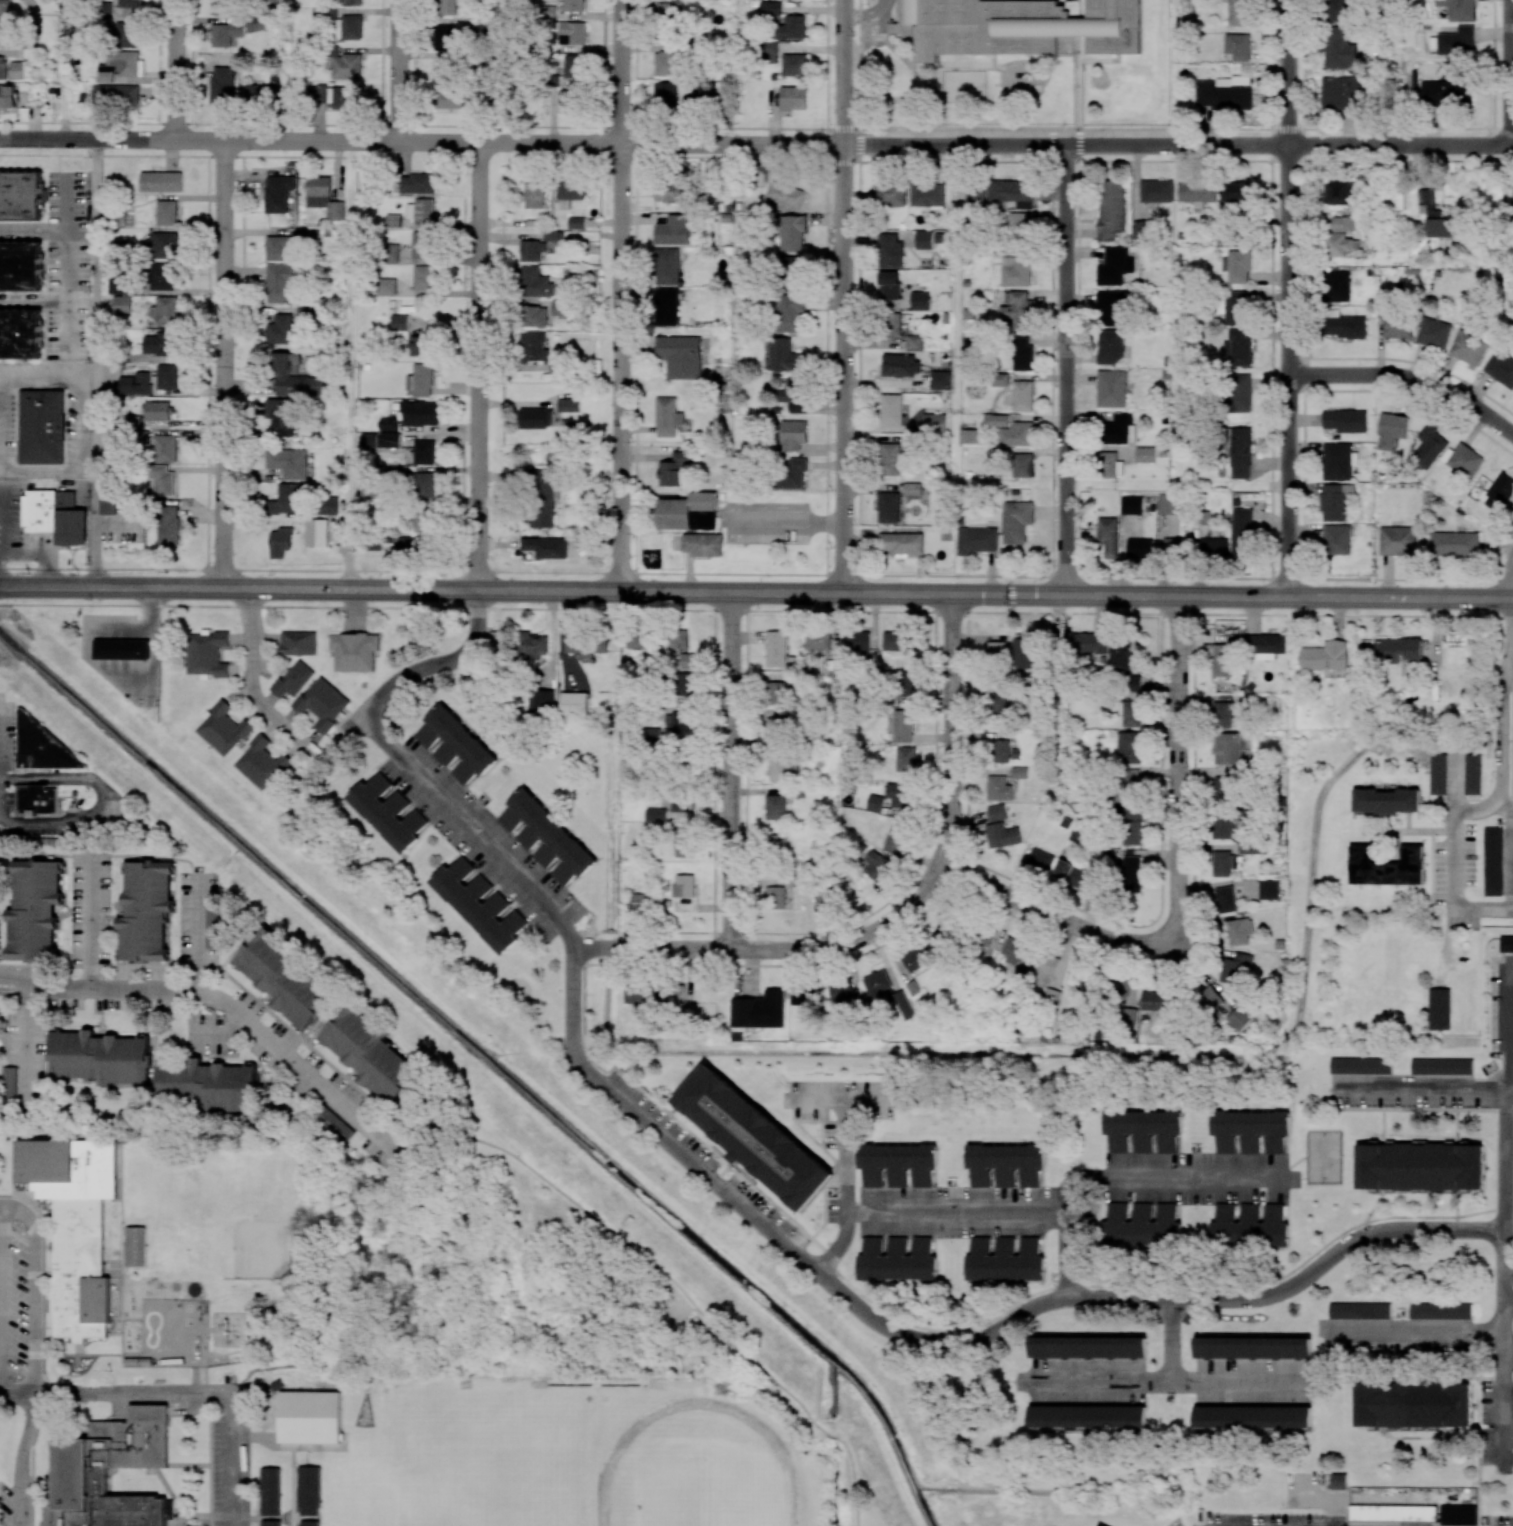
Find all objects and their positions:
building: (351, 2)
building: (128, 3)
building: (573, 5)
building: (219, 7)
building: (447, 7)
building: (1458, 9)
building: (1337, 10)
building: (666, 12)
building: (1238, 12)
road: (868, 15)
building: (4, 19)
building: (255, 24)
building: (351, 27)
building: (1015, 27)
building: (791, 28)
building: (225, 33)
building: (572, 33)
building: (124, 34)
building: (444, 37)
building: (1456, 41)
building: (1237, 46)
building: (1340, 49)
building: (769, 52)
building: (667, 63)
building: (794, 65)
building: (121, 66)
building: (347, 66)
building: (574, 66)
building: (2, 67)
road: (63, 69)
road: (176, 69)
building: (16, 70)
road: (399, 70)
building: (441, 71)
road: (1511, 72)
building: (221, 85)
building: (1224, 93)
building: (1340, 93)
building: (1446, 93)
building: (116, 94)
building: (260, 94)
building: (319, 94)
building: (665, 94)
building: (706, 95)
building: (8, 96)
building: (343, 97)
building: (447, 98)
building: (793, 98)
building: (569, 99)
road: (756, 141)
building: (161, 181)
building: (417, 183)
building: (671, 191)
building: (1156, 191)
building: (1237, 191)
building: (569, 192)
building: (1012, 192)
building: (278, 193)
building: (976, 193)
building: (1197, 193)
building: (1342, 193)
building: (20, 194)
building: (891, 194)
building: (926, 194)
building: (533, 195)
building: (786, 195)
building: (324, 197)
building: (1397, 201)
road: (72, 206)
building: (1111, 209)
building: (420, 210)
building: (166, 212)
building: (1434, 215)
building: (117, 219)
building: (393, 220)
building: (575, 222)
building: (1341, 224)
building: (673, 230)
building: (1140, 230)
building: (792, 232)
building: (1020, 232)
road: (71, 233)
road: (84, 234)
building: (923, 239)
building: (1340, 244)
building: (164, 245)
building: (422, 245)
building: (279, 246)
building: (531, 250)
building: (890, 251)
building: (390, 253)
building: (20, 265)
building: (666, 266)
building: (1114, 266)
building: (1238, 266)
building: (794, 270)
building: (1016, 271)
building: (162, 276)
building: (423, 277)
building: (279, 282)
building: (533, 282)
building: (117, 283)
building: (889, 285)
building: (387, 286)
building: (1336, 286)
road: (622, 296)
road: (845, 297)
road: (1290, 298)
building: (919, 300)
road: (36, 304)
building: (121, 305)
building: (557, 307)
building: (666, 307)
building: (1111, 307)
building: (1237, 307)
building: (1018, 310)
building: (164, 311)
building: (790, 314)
building: (534, 316)
building: (399, 322)
building: (893, 325)
building: (1344, 325)
building: (1397, 327)
road: (72, 329)
building: (279, 329)
building: (20, 333)
building: (1433, 333)
building: (158, 343)
building: (914, 343)
building: (421, 346)
building: (1110, 346)
building: (533, 347)
building: (1238, 347)
building: (1468, 347)
building: (1022, 354)
building: (679, 356)
building: (785, 356)
road: (97, 362)
road: (223, 363)
road: (478, 365)
building: (900, 365)
building: (1500, 367)
road: (1067, 369)
building: (166, 376)
road: (45, 377)
building: (293, 378)
road: (1408, 379)
building: (420, 380)
building: (940, 380)
building: (135, 384)
building: (1111, 388)
building: (793, 393)
building: (1238, 393)
building: (1019, 395)
building: (568, 404)
building: (891, 410)
building: (158, 411)
building: (420, 413)
building: (280, 416)
building: (667, 417)
building: (535, 418)
building: (996, 420)
building: (1345, 420)
building: (132, 421)
building: (934, 422)
building: (388, 424)
building: (41, 426)
building: (1118, 429)
building: (1392, 429)
building: (1017, 434)
building: (793, 435)
building: (969, 436)
building: (390, 439)
building: (368, 440)
building: (166, 448)
building: (424, 451)
building: (1238, 451)
building: (1146, 455)
building: (889, 459)
building: (1462, 459)
building: (1337, 461)
building: (287, 462)
building: (1022, 465)
building: (1109, 465)
building: (674, 469)
building: (792, 474)
building: (161, 479)
building: (424, 484)
building: (911, 489)
building: (370, 490)
building: (1499, 491)
building: (543, 497)
building: (285, 499)
building: (1334, 501)
building: (1131, 504)
building: (1168, 504)
building: (108, 506)
building: (328, 507)
building: (888, 507)
building: (688, 512)
building: (55, 515)
building: (424, 519)
building: (1017, 521)
road: (787, 522)
road: (3, 524)
building: (168, 525)
building: (316, 532)
building: (1241, 532)
building: (1108, 535)
building: (976, 539)
building: (1336, 539)
building: (1397, 540)
building: (280, 542)
building: (901, 542)
building: (1454, 543)
building: (703, 544)
building: (1176, 545)
building: (546, 547)
building: (1139, 548)
building: (1214, 548)
road: (38, 552)
road: (524, 571)
road: (1262, 577)
road: (756, 593)
traffic signals: (1011, 595)
road: (756, 611)
building: (638, 639)
building: (675, 639)
building: (817, 640)
building: (894, 640)
building: (857, 641)
building: (1090, 642)
building: (298, 643)
building: (585, 644)
building: (533, 645)
building: (1266, 645)
building: (775, 648)
building: (121, 649)
building: (1396, 649)
building: (997, 650)
building: (1026, 650)
building: (353, 651)
building: (207, 654)
building: (1122, 656)
building: (1324, 656)
building: (686, 660)
building: (1222, 660)
road: (445, 670)
road: (1509, 670)
road: (253, 677)
building: (293, 679)
building: (1132, 682)
building: (905, 684)
building: (685, 685)
building: (776, 692)
building: (322, 702)
building: (540, 702)
building: (998, 703)
road: (1501, 703)
building: (574, 704)
building: (1131, 714)
building: (1222, 714)
building: (678, 722)
building: (902, 726)
building: (223, 728)
building: (775, 729)
road: (953, 731)
parking lot: (7, 734)
building: (455, 744)
building: (43, 746)
building: (1130, 746)
building: (1227, 748)
building: (1000, 751)
building: (905, 759)
building: (261, 763)
building: (783, 768)
road: (1179, 769)
building: (1018, 772)
building: (1438, 773)
building: (1473, 774)
building: (1128, 784)
building: (999, 788)
building: (1221, 788)
road: (102, 797)
building: (35, 799)
building: (891, 799)
building: (1386, 800)
building: (680, 805)
building: (775, 807)
parking lot: (7, 808)
road: (1511, 811)
building: (387, 812)
building: (996, 812)
building: (656, 814)
road: (731, 817)
building: (1131, 825)
road: (473, 827)
building: (1222, 827)
building: (1002, 835)
building: (546, 837)
building: (895, 838)
building: (775, 842)
building: (683, 845)
building: (1253, 848)
road: (120, 855)
building: (1039, 860)
building: (1493, 861)
building: (1222, 863)
building: (876, 866)
building: (1386, 866)
building: (1072, 874)
building: (1131, 874)
building: (1268, 889)
building: (683, 892)
building: (827, 896)
building: (775, 897)
building: (1225, 899)
building: (640, 902)
building: (479, 904)
parking lot: (90, 905)
building: (34, 909)
building: (145, 911)
road: (1471, 911)
road: (1055, 916)
road: (92, 918)
parking lot: (197, 918)
building: (213, 926)
building: (1239, 930)
road: (199, 932)
building: (986, 935)
building: (1506, 944)
building: (1014, 950)
road: (773, 951)
building: (913, 959)
building: (1233, 967)
road: (225, 972)
building: (1048, 973)
building: (283, 976)
road: (13, 977)
building: (1080, 978)
building: (878, 987)
road: (13, 990)
building: (844, 992)
building: (674, 993)
building: (1122, 993)
building: (640, 994)
building: (802, 995)
building: (1214, 1001)
parking lot: (110, 1002)
building: (1156, 1003)
building: (903, 1005)
building: (1439, 1009)
building: (759, 1010)
road: (101, 1012)
road: (237, 1014)
building: (1240, 1017)
road: (1510, 1025)
road: (216, 1033)
parking lot: (209, 1036)
road: (185, 1038)
road: (26, 1042)
road: (182, 1044)
parking lot: (26, 1048)
building: (369, 1053)
building: (99, 1056)
river: (490, 1060)
road: (152, 1061)
road: (153, 1064)
building: (1361, 1065)
building: (1442, 1066)
building: (9, 1082)
parking lot: (319, 1082)
building: (208, 1085)
road: (1423, 1087)
road: (840, 1099)
building: (333, 1122)
building: (1142, 1130)
building: (1250, 1131)
building: (754, 1138)
road: (842, 1158)
road: (1508, 1159)
building: (897, 1164)
building: (1005, 1164)
building: (1419, 1166)
road: (1122, 1179)
road: (28, 1199)
road: (953, 1218)
building: (1142, 1225)
building: (1249, 1225)
building: (75, 1229)
road: (121, 1231)
road: (835, 1249)
building: (897, 1259)
building: (1005, 1259)
road: (661, 1271)
road: (1510, 1275)
road: (32, 1289)
road: (1510, 1292)
parking lot: (20, 1294)
road: (43, 1296)
road: (1, 1298)
building: (1359, 1310)
building: (1440, 1310)
road: (125, 1318)
road: (121, 1326)
road: (1414, 1334)
road: (121, 1336)
road: (950, 1345)
building: (1087, 1347)
building: (1252, 1347)
road: (78, 1348)
road: (1176, 1348)
road: (1507, 1353)
road: (92, 1354)
road: (1510, 1362)
road: (1174, 1389)
road: (175, 1397)
building: (1412, 1405)
building: (309, 1416)
building: (1087, 1416)
building: (1252, 1416)
road: (31, 1452)
road: (22, 1461)
road: (209, 1461)
road: (189, 1464)
building: (111, 1465)
parking lot: (230, 1470)
track: (697, 1472)
building: (1338, 1481)
road: (292, 1483)
building: (309, 1489)
road: (169, 1491)
building: (270, 1491)
park: (698, 1493)
parking lot: (7, 1506)
building: (1392, 1513)
building: (1458, 1515)
road: (245, 1516)
road: (257, 1521)
building: (270, 1523)
building: (309, 1523)

